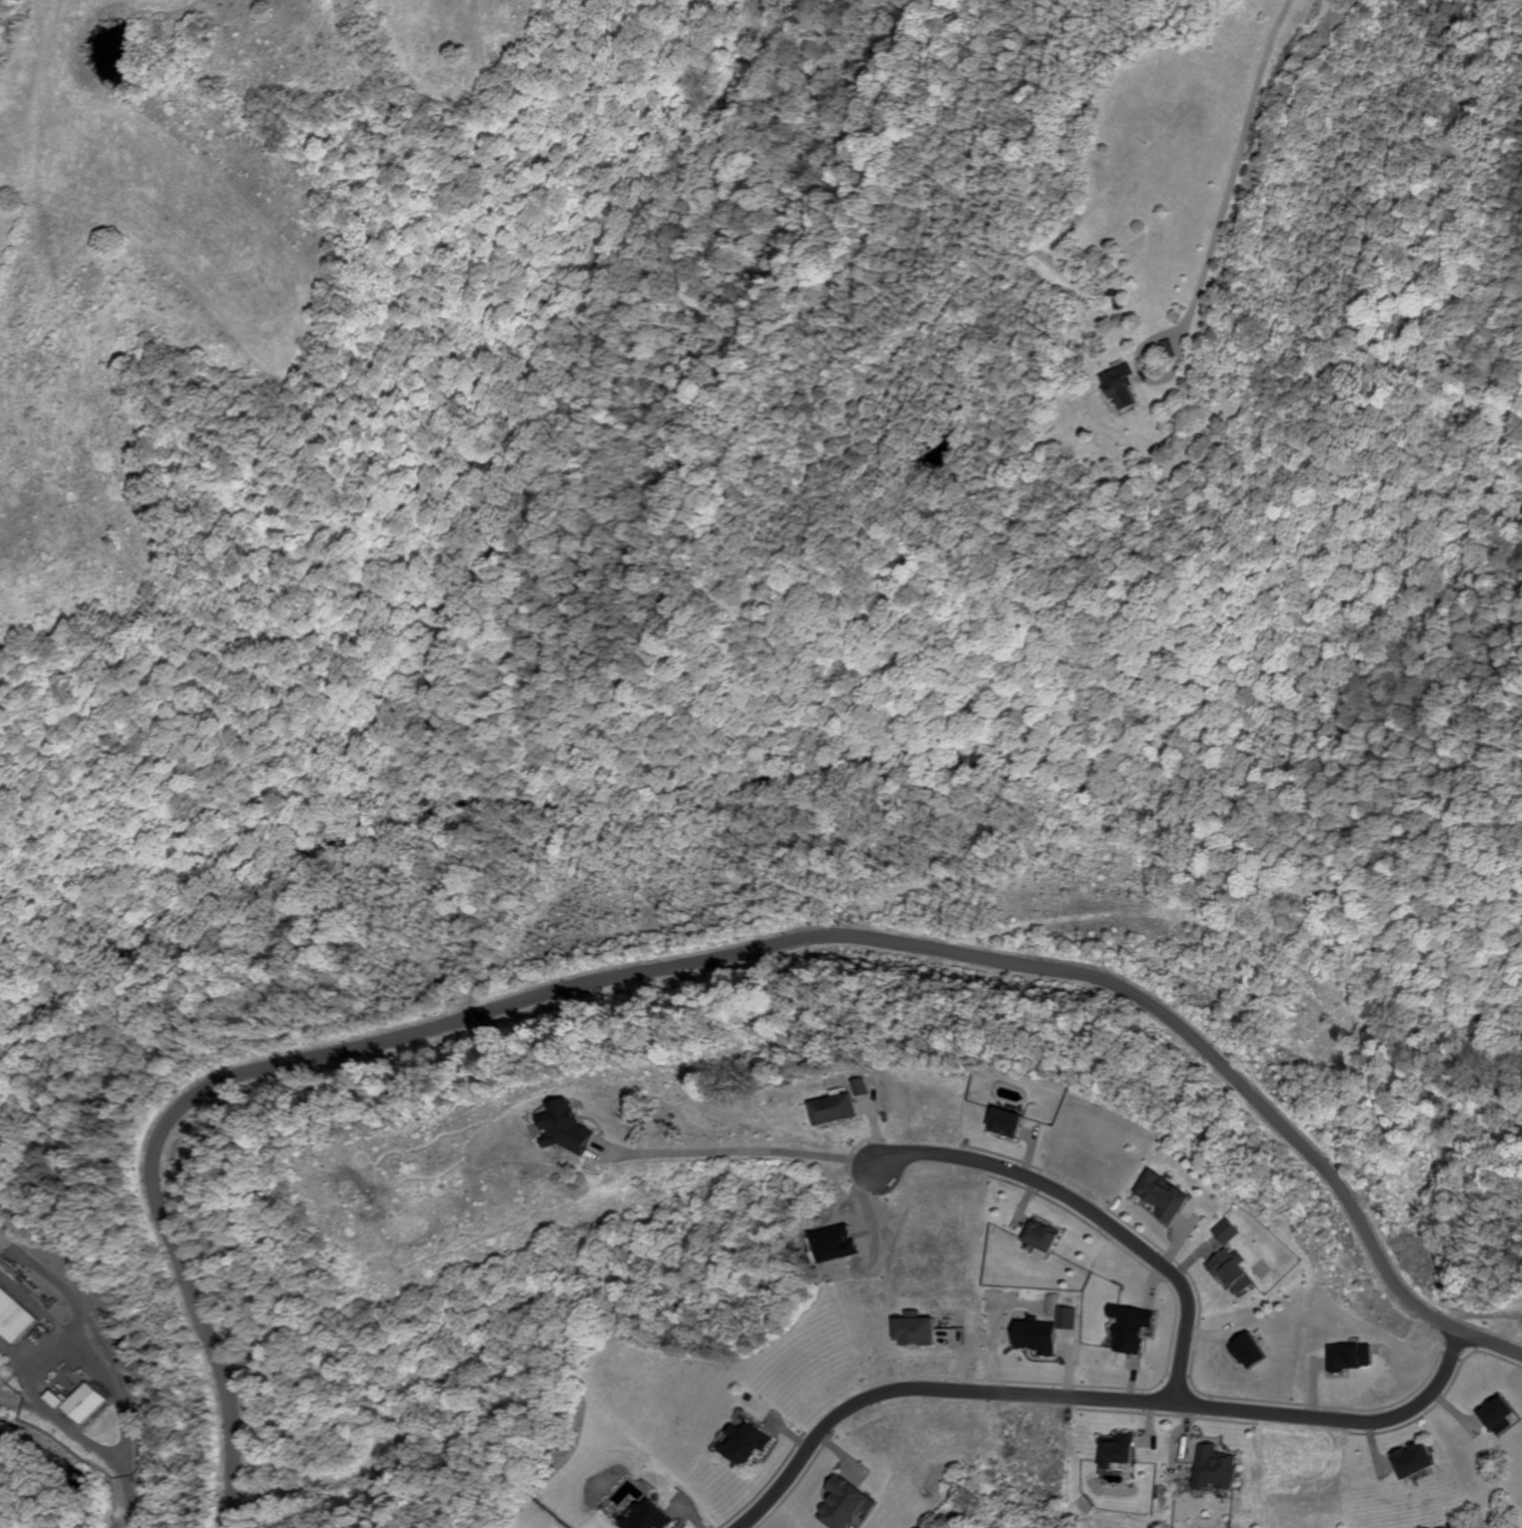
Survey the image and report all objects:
road: (1235, 161)
building: (1166, 348)
road: (1141, 374)
building: (1116, 385)
road: (704, 963)
building: (861, 1085)
building: (830, 1107)
building: (1004, 1121)
building: (564, 1127)
road: (763, 1155)
building: (1161, 1195)
road: (1094, 1211)
building: (1226, 1231)
building: (1039, 1236)
building: (1230, 1270)
road: (52, 1281)
road: (32, 1302)
building: (1065, 1317)
building: (1125, 1326)
building: (910, 1327)
building: (1032, 1335)
road: (62, 1344)
building: (1244, 1348)
wastewater plant: (68, 1352)
road: (60, 1355)
building: (1347, 1355)
road: (926, 1388)
building: (51, 1398)
building: (79, 1402)
road: (1210, 1406)
building: (1495, 1414)
road: (1376, 1421)
building: (742, 1442)
building: (1115, 1448)
building: (1410, 1458)
building: (1212, 1468)
building: (842, 1502)
road: (123, 1504)
building: (645, 1517)

